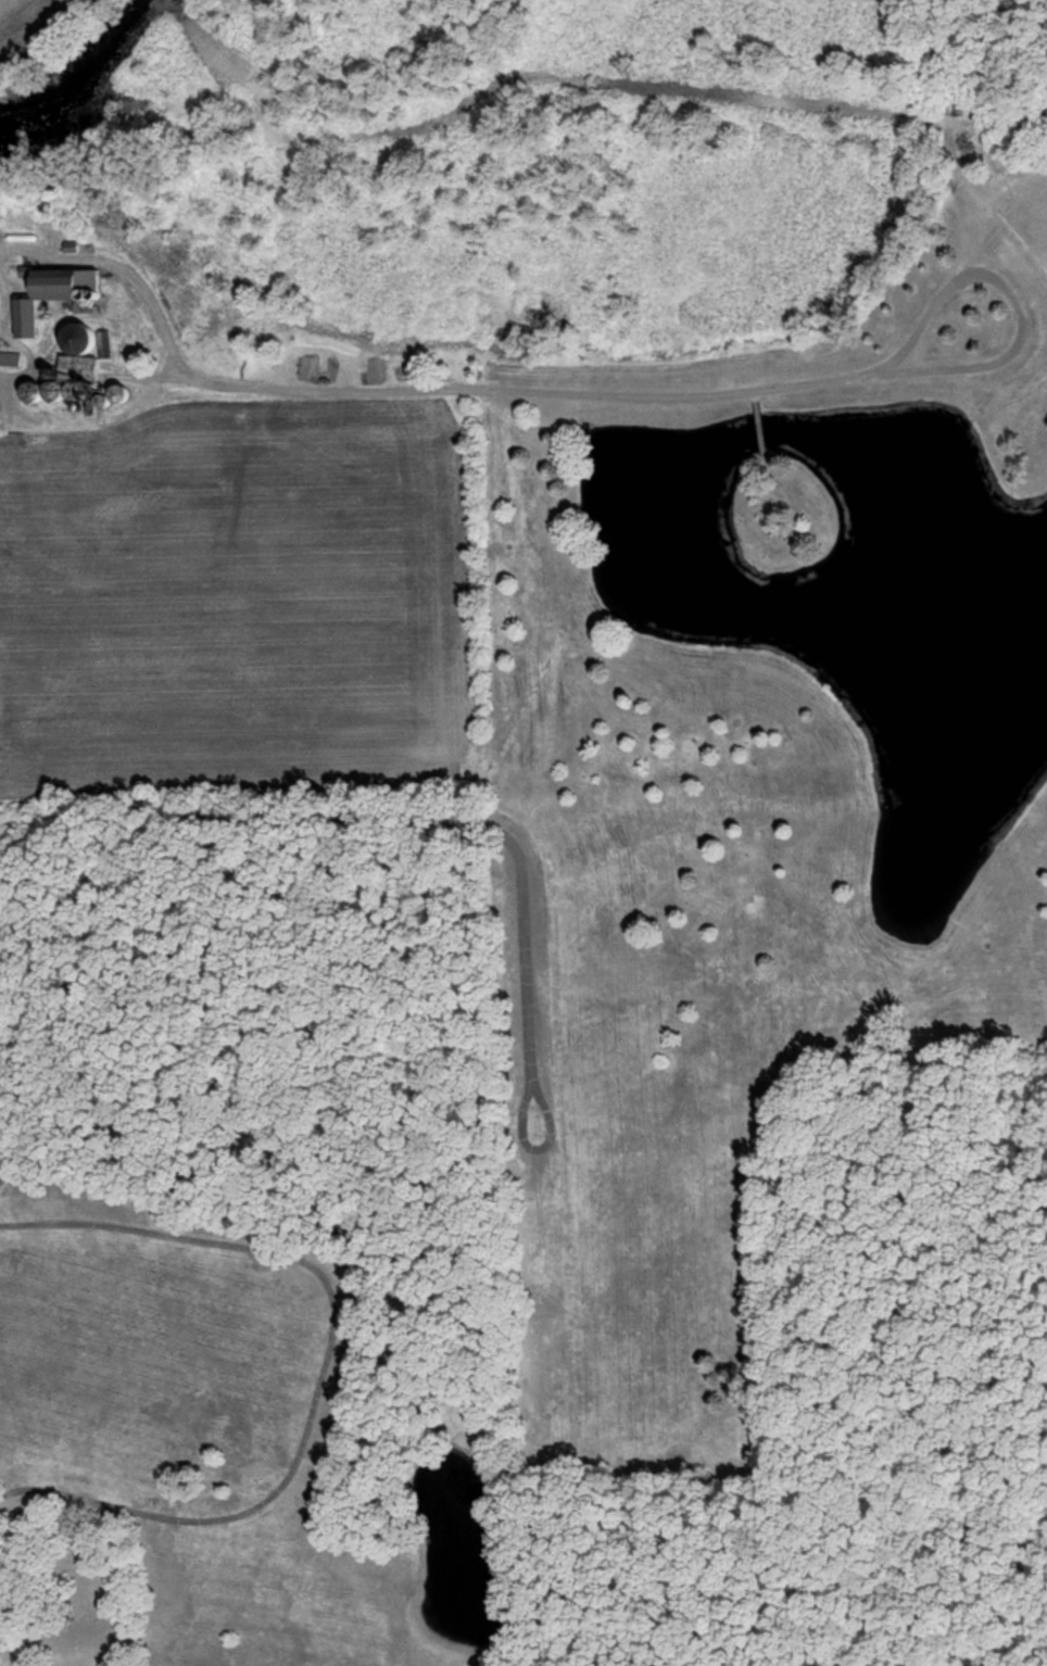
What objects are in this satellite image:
road: (1016, 290)
building: (50, 294)
building: (105, 344)
building: (9, 358)
building: (307, 366)
building: (71, 373)
road: (418, 389)
crop: (238, 601)
road: (279, 824)
road: (324, 1367)

